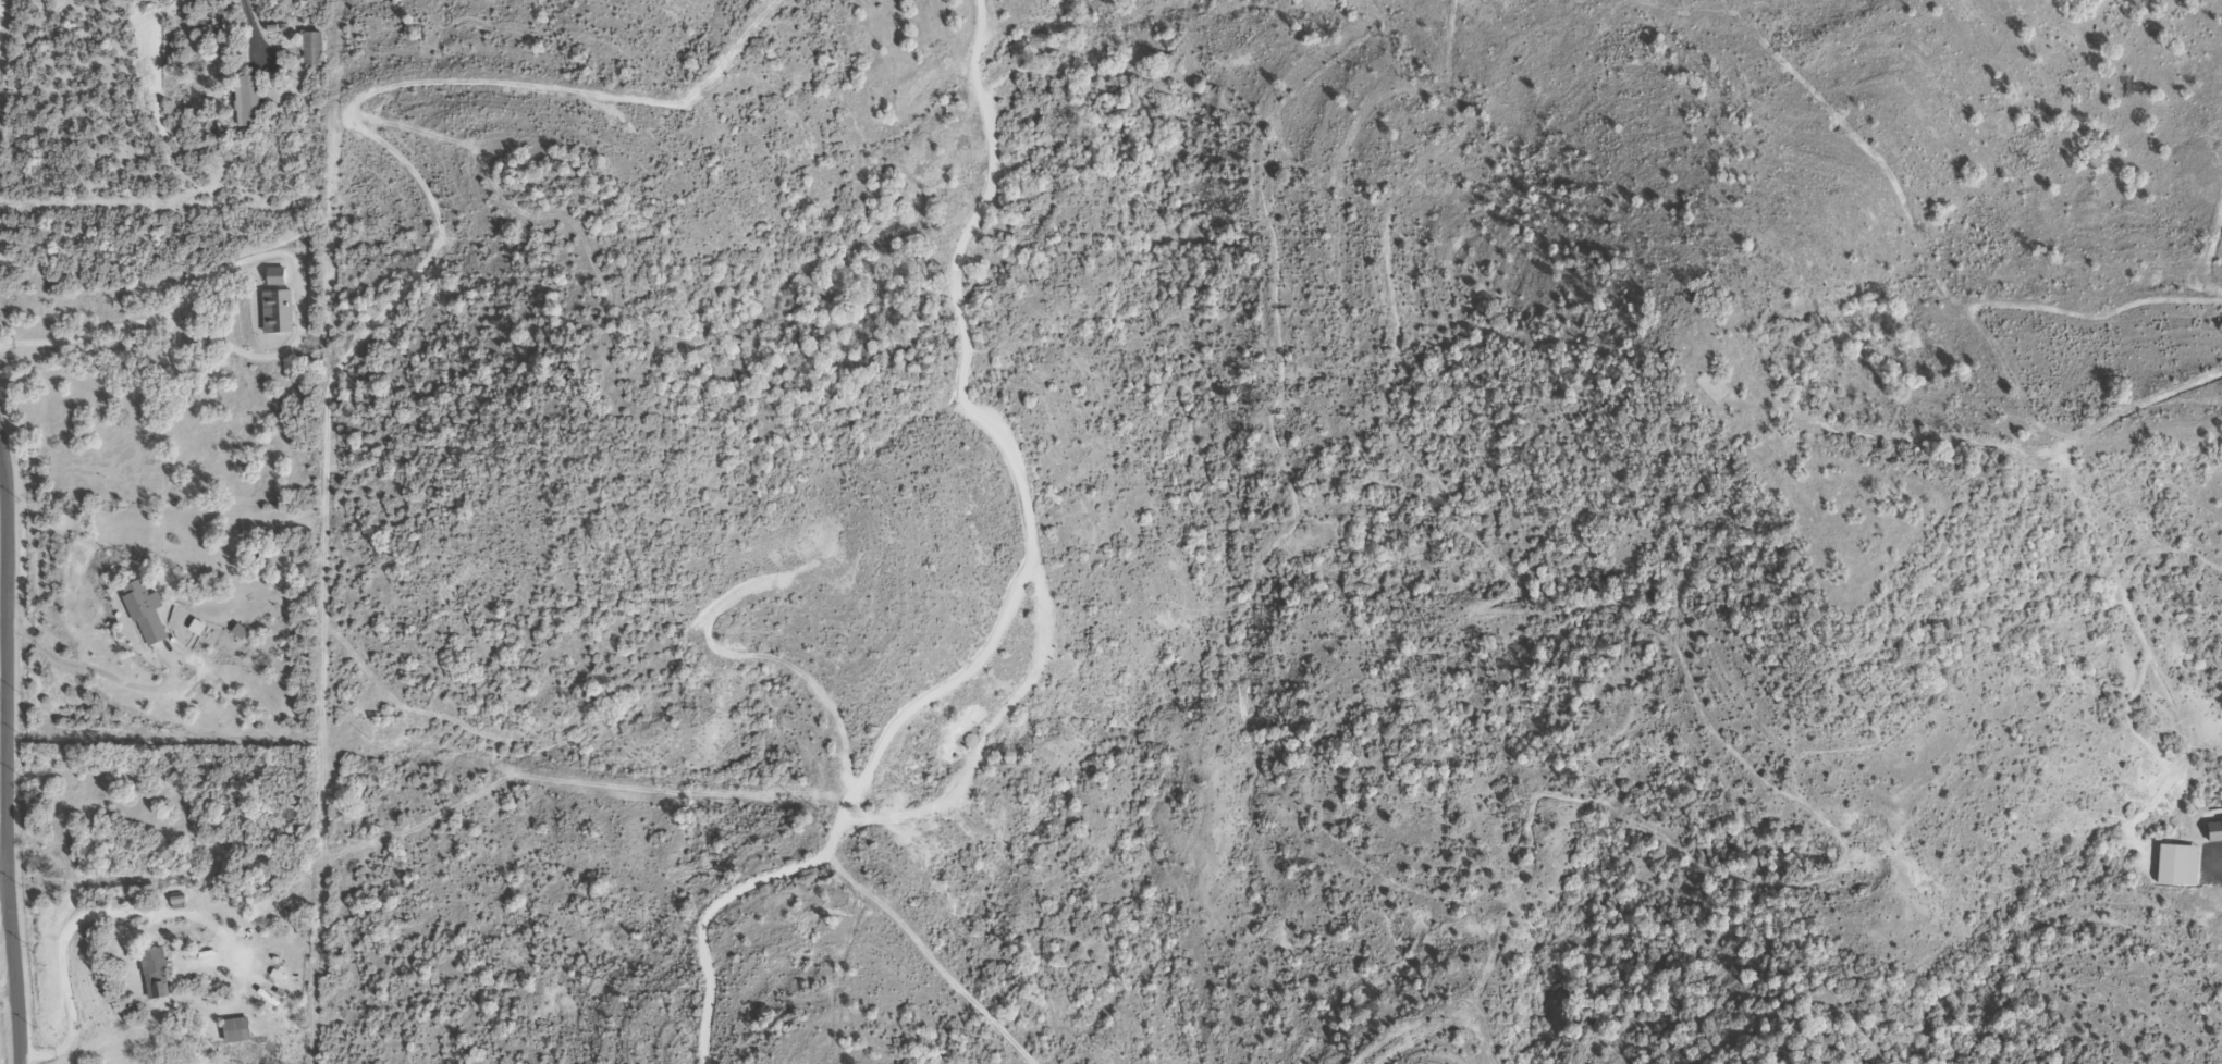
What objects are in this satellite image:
road: (256, 27)
building: (310, 50)
building: (246, 102)
building: (274, 279)
building: (275, 313)
road: (1018, 590)
building: (144, 615)
road: (1, 668)
road: (91, 671)
road: (5, 757)
road: (703, 918)
road: (73, 927)
building: (154, 976)
road: (8, 987)
building: (235, 1032)

